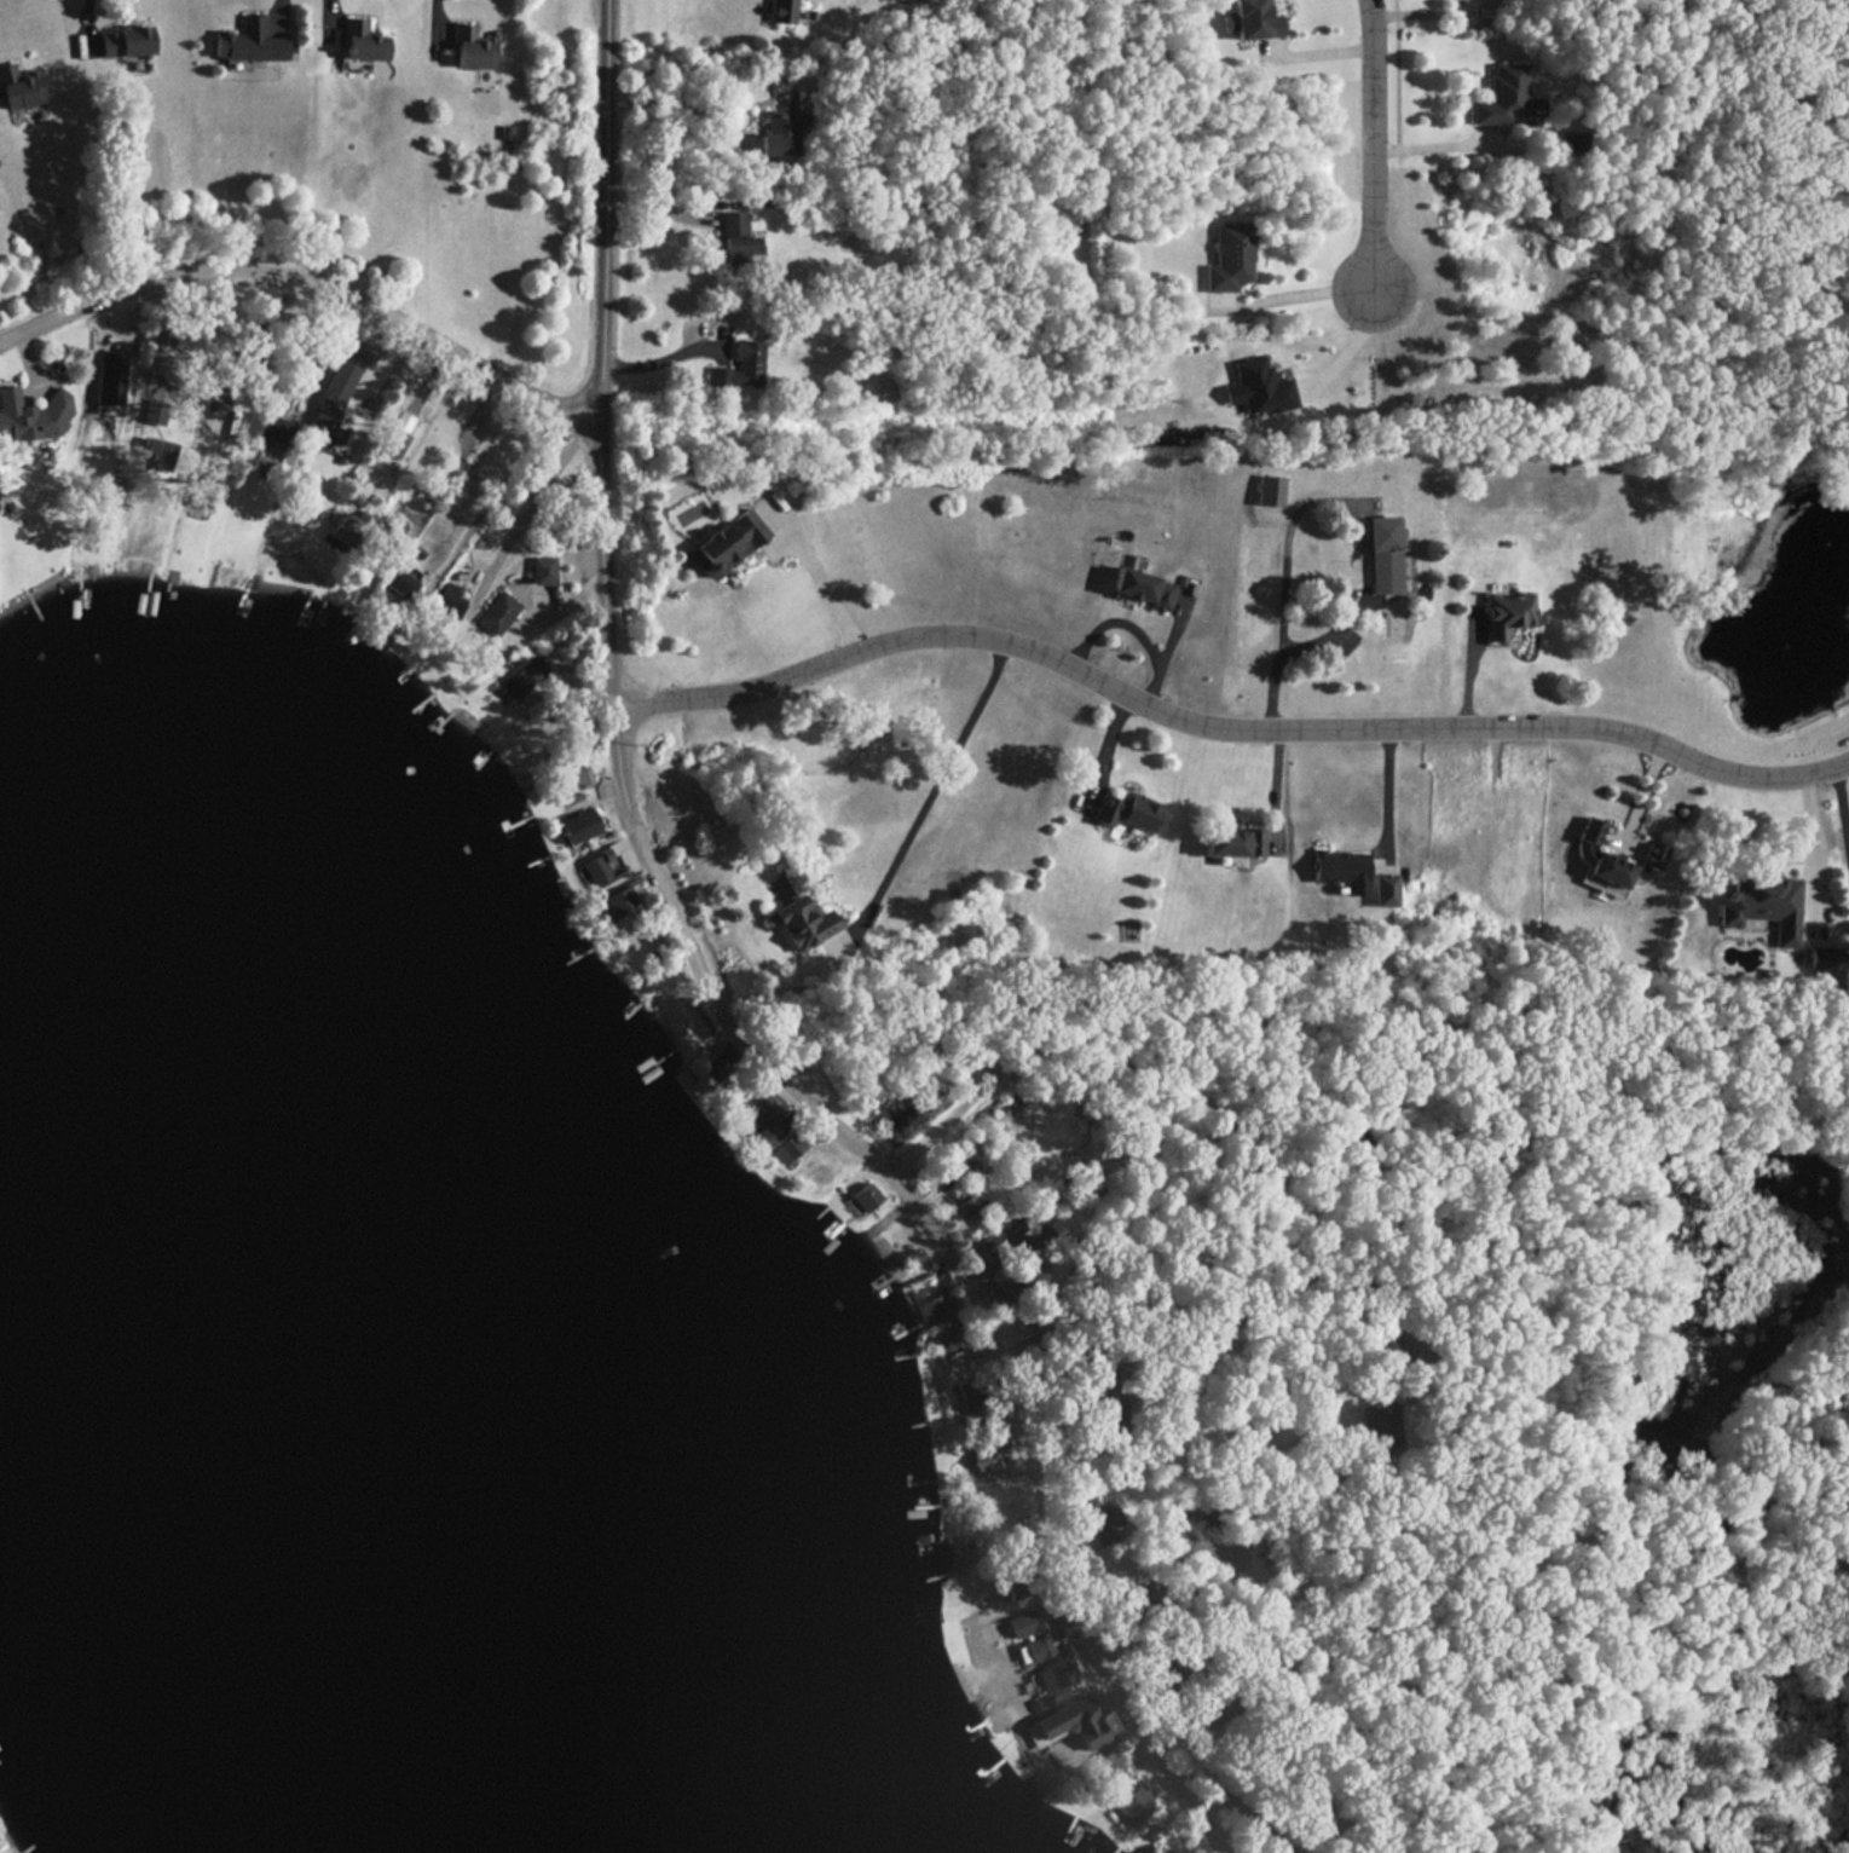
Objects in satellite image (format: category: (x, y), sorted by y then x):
building: (784, 10)
road: (1432, 12)
building: (1254, 19)
road: (85, 27)
road: (435, 28)
building: (125, 41)
building: (364, 41)
building: (249, 42)
building: (472, 48)
building: (19, 87)
building: (1507, 98)
building: (781, 128)
road: (1376, 151)
building: (736, 238)
building: (1229, 258)
road: (313, 277)
road: (168, 328)
road: (243, 342)
road: (665, 358)
road: (330, 360)
road: (1348, 364)
building: (741, 365)
building: (109, 377)
building: (1256, 387)
building: (330, 406)
building: (154, 412)
building: (30, 415)
building: (275, 429)
building: (397, 433)
building: (158, 452)
building: (1270, 490)
road: (489, 497)
building: (349, 527)
building: (728, 542)
building: (1383, 554)
building: (543, 570)
building: (401, 583)
building: (1142, 588)
road: (827, 591)
building: (450, 600)
building: (498, 613)
building: (1506, 613)
road: (1132, 628)
road: (1285, 648)
building: (528, 675)
road: (1219, 726)
building: (574, 775)
road: (934, 785)
road: (1388, 793)
building: (1125, 810)
road: (1842, 812)
building: (580, 826)
road: (1815, 855)
building: (609, 862)
building: (1613, 862)
building: (1342, 870)
building: (1385, 889)
building: (622, 899)
building: (1764, 907)
building: (804, 922)
building: (1825, 965)
road: (710, 998)
building: (767, 1120)
building: (790, 1147)
building: (863, 1197)
building: (967, 1210)
building: (999, 1237)
road: (1497, 1311)
building: (946, 1345)
building: (969, 1397)
building: (1385, 1426)
building: (987, 1459)
building: (1106, 1524)
building: (1028, 1623)
building: (1036, 1647)
building: (1054, 1679)
building: (1067, 1724)
building: (1108, 1763)
building: (1129, 1801)
road: (1248, 1816)

